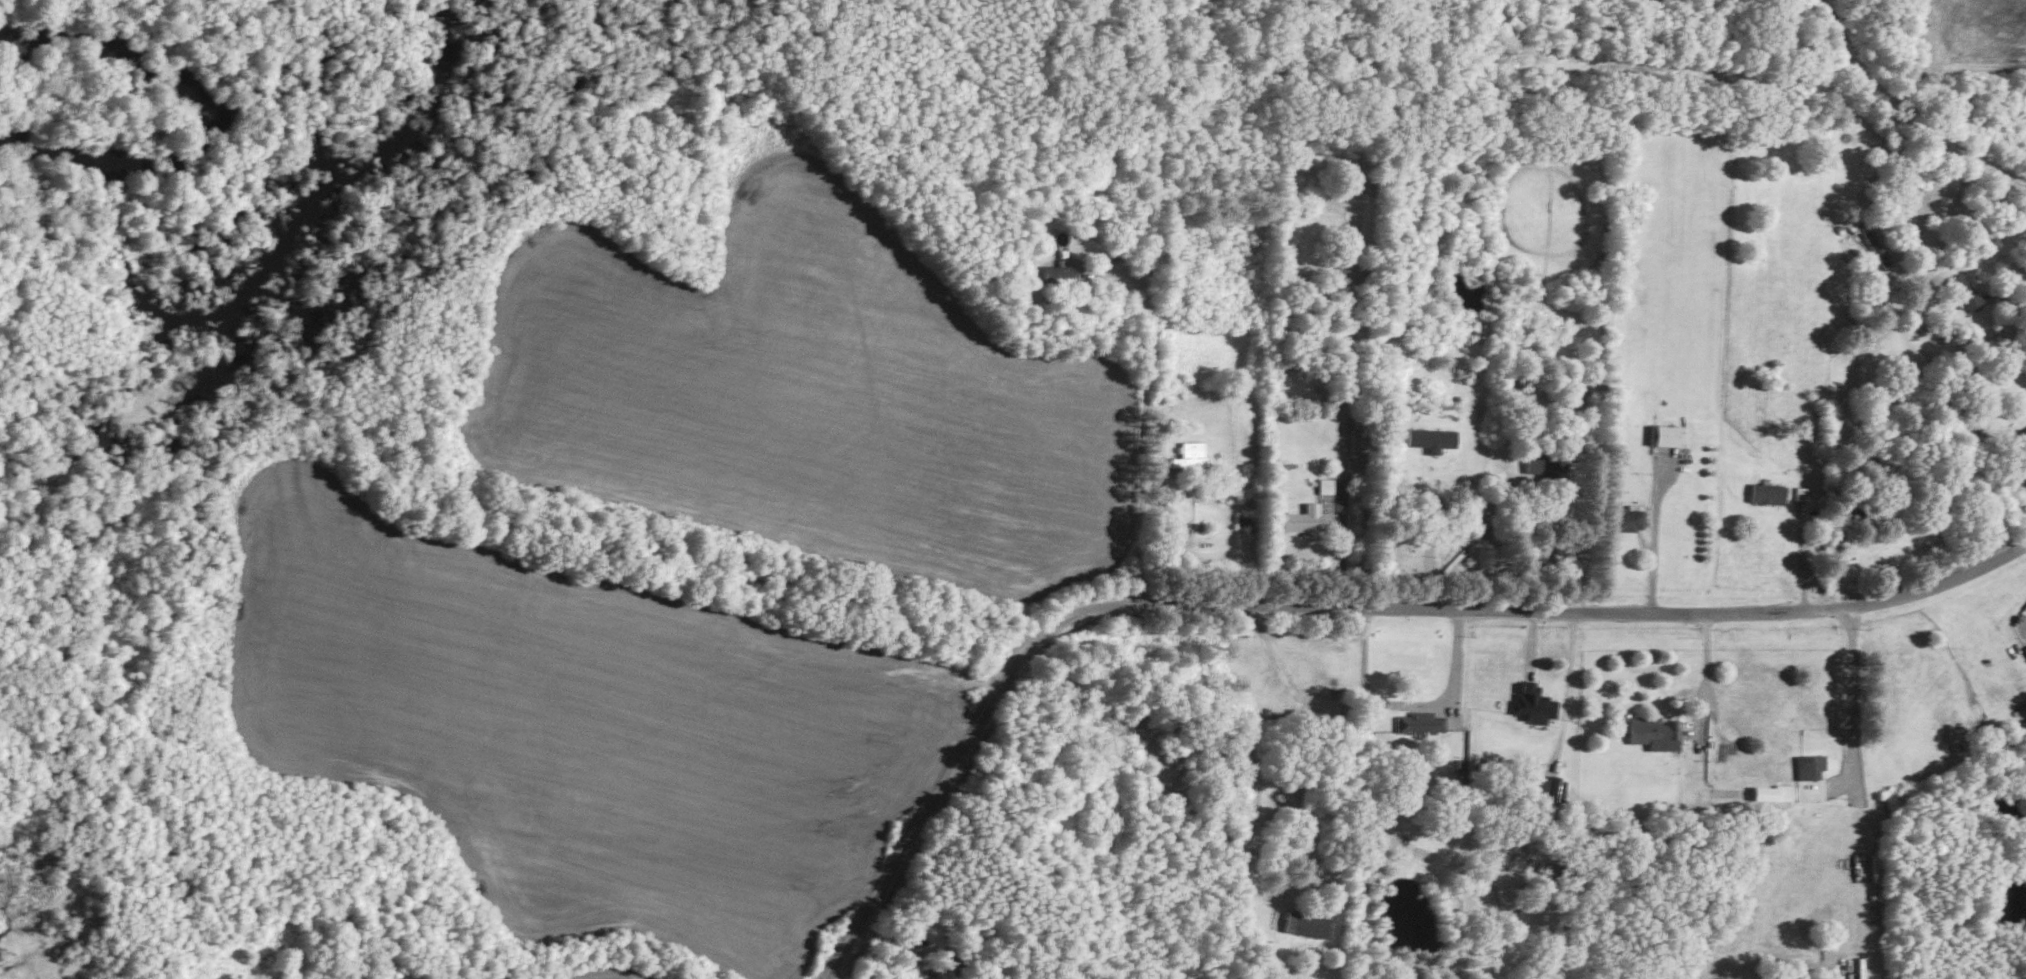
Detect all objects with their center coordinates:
crop: (1979, 35)
river: (220, 109)
road: (1906, 118)
road: (1928, 188)
building: (1877, 246)
building: (1055, 273)
building: (1965, 292)
road: (1142, 429)
building: (1663, 435)
building: (1358, 436)
building: (1431, 438)
building: (2020, 440)
building: (1189, 456)
building: (1545, 464)
building: (1325, 485)
building: (1766, 493)
building: (1307, 519)
building: (1625, 519)
road: (1801, 560)
road: (1654, 561)
road: (1334, 606)
building: (2025, 646)
road: (1705, 676)
road: (1850, 697)
building: (1532, 703)
road: (1410, 706)
building: (1419, 721)
building: (1653, 732)
road: (1304, 733)
building: (1808, 765)
building: (1550, 786)
building: (1770, 792)
building: (1305, 924)

